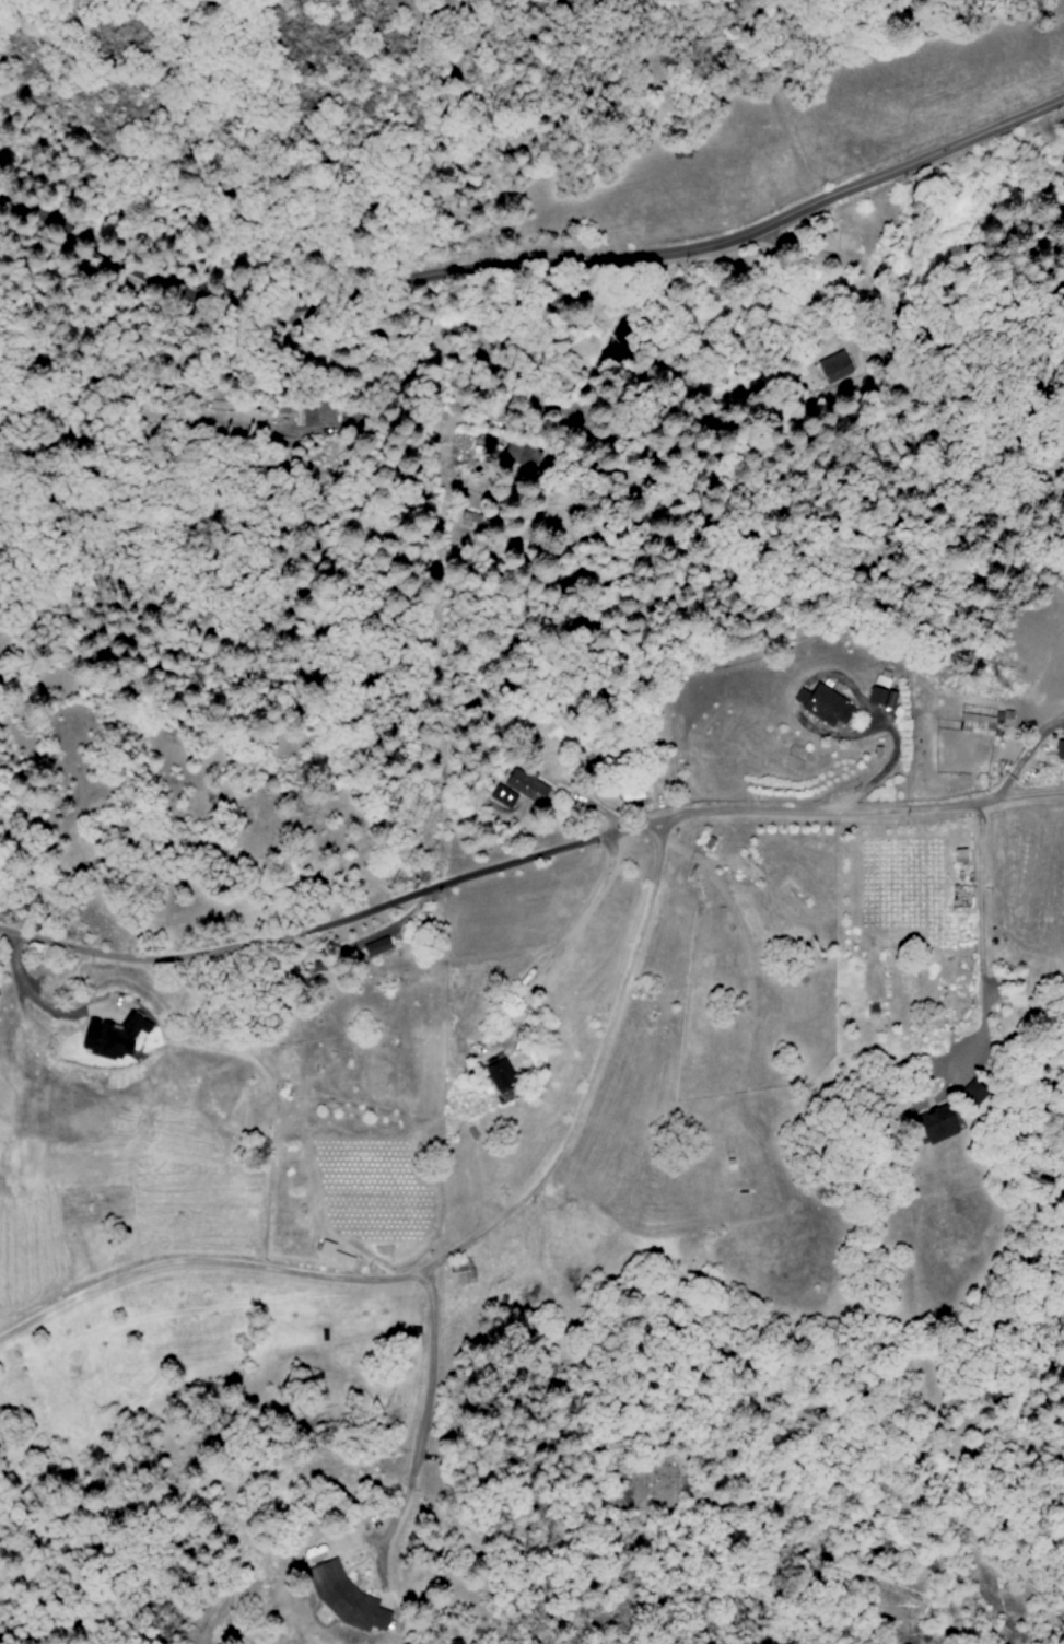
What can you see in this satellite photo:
road: (528, 265)
building: (835, 366)
building: (301, 418)
building: (885, 697)
building: (827, 704)
building: (981, 723)
building: (1061, 749)
building: (526, 786)
building: (505, 797)
road: (866, 808)
road: (339, 922)
road: (978, 941)
road: (559, 943)
building: (373, 948)
building: (116, 1036)
building: (501, 1074)
building: (939, 1124)
road: (461, 1245)
building: (335, 1252)
building: (464, 1273)
road: (419, 1429)
building: (353, 1606)

